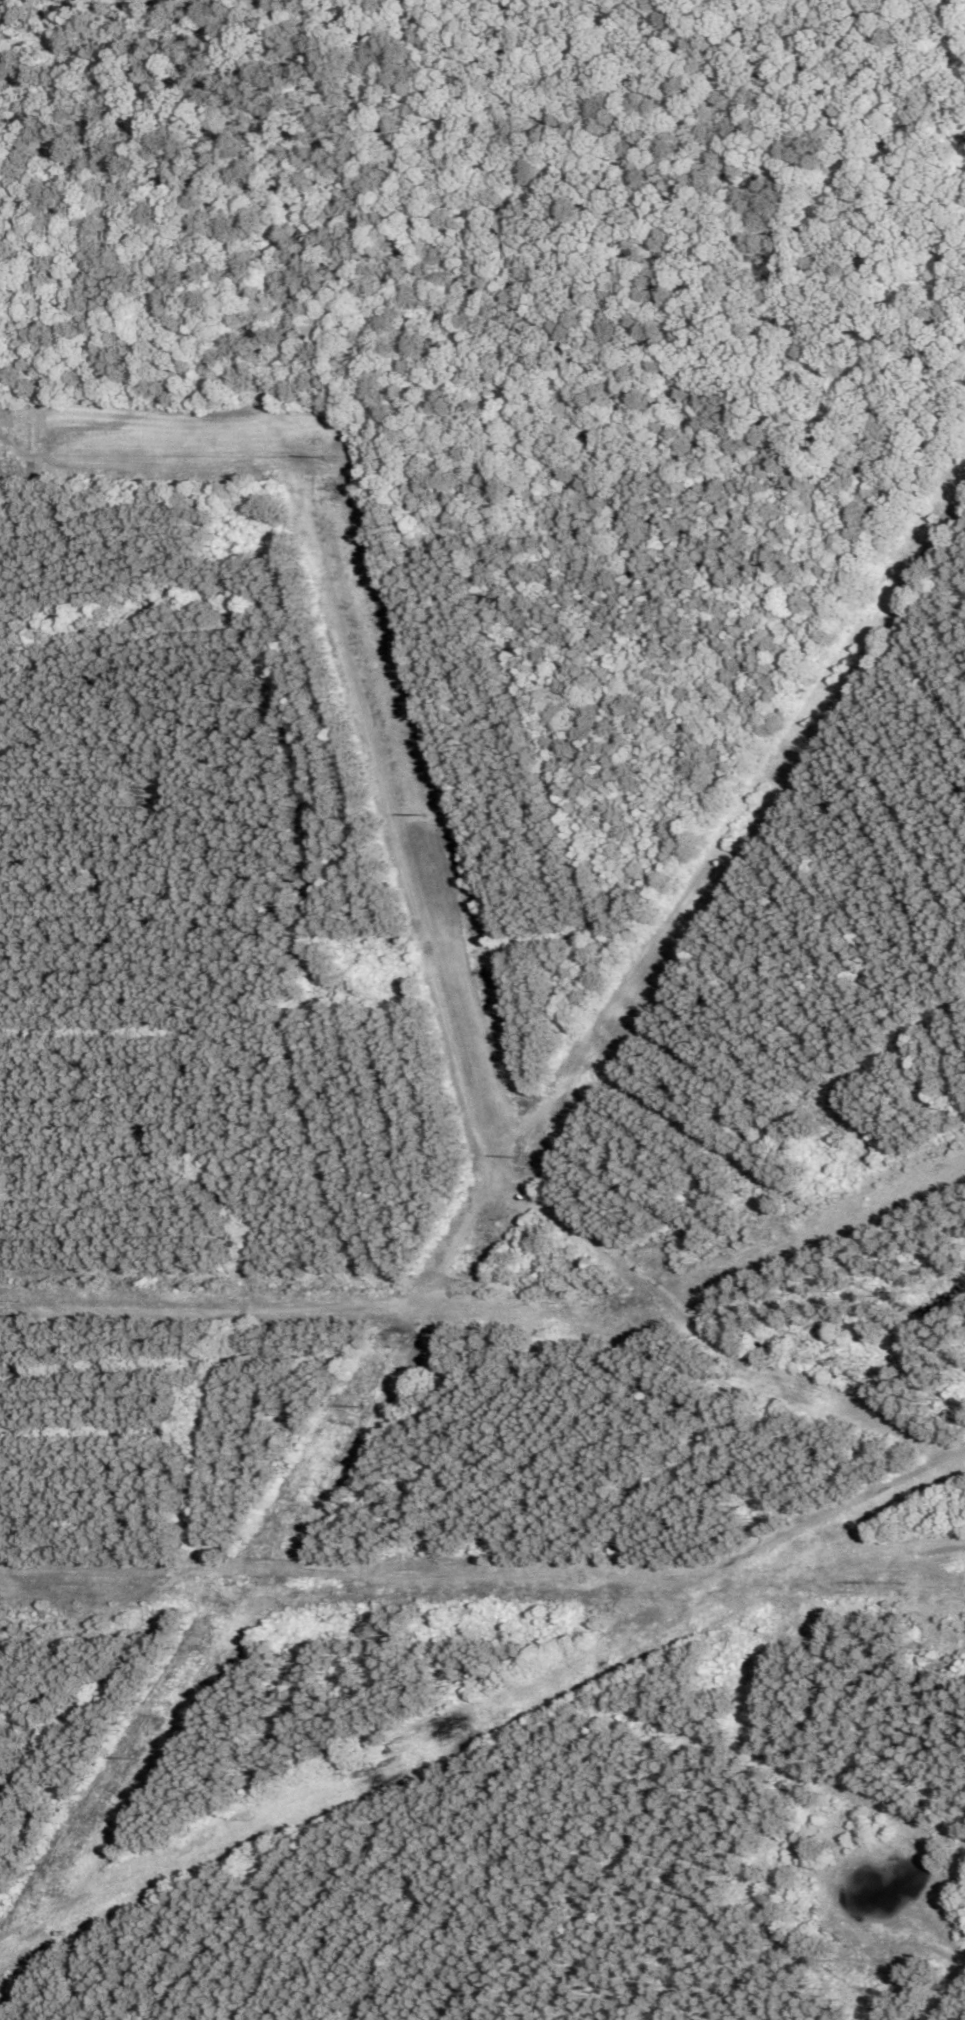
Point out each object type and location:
road: (934, 1973)

